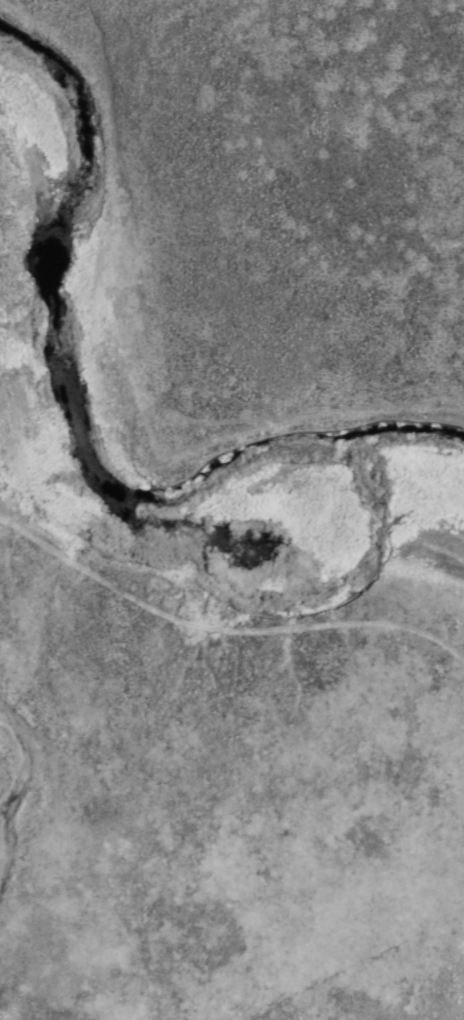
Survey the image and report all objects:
crop: (232, 510)

